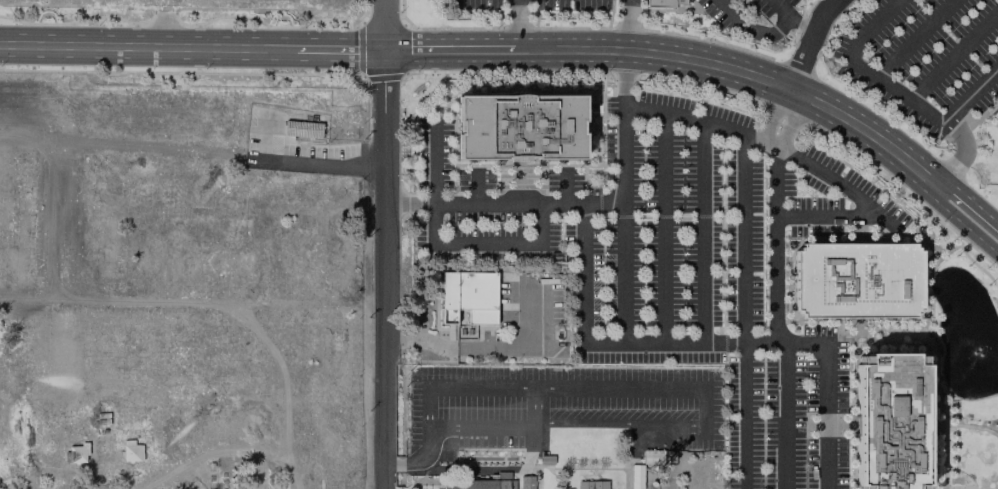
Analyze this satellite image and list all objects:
building: (663, 3)
road: (781, 7)
road: (515, 25)
road: (803, 25)
road: (626, 26)
road: (751, 28)
road: (915, 39)
road: (813, 45)
road: (148, 47)
road: (343, 50)
road: (433, 50)
road: (953, 56)
road: (719, 68)
road: (623, 70)
road: (866, 70)
road: (973, 93)
building: (995, 115)
road: (696, 118)
road: (780, 118)
building: (520, 127)
building: (302, 128)
road: (193, 152)
road: (963, 152)
road: (433, 162)
road: (774, 181)
road: (564, 186)
road: (475, 187)
road: (968, 198)
road: (561, 203)
road: (410, 204)
road: (961, 222)
road: (662, 227)
road: (702, 231)
road: (540, 241)
road: (387, 244)
road: (775, 254)
road: (623, 272)
building: (857, 280)
road: (583, 292)
building: (468, 296)
road: (194, 297)
road: (744, 310)
road: (456, 349)
road: (638, 387)
road: (537, 406)
road: (784, 415)
building: (890, 422)
road: (620, 424)
road: (972, 426)
road: (944, 436)
building: (570, 443)
building: (76, 453)
building: (652, 457)
road: (402, 464)
building: (636, 476)
building: (526, 482)
building: (482, 483)
building: (592, 485)
road: (997, 488)

